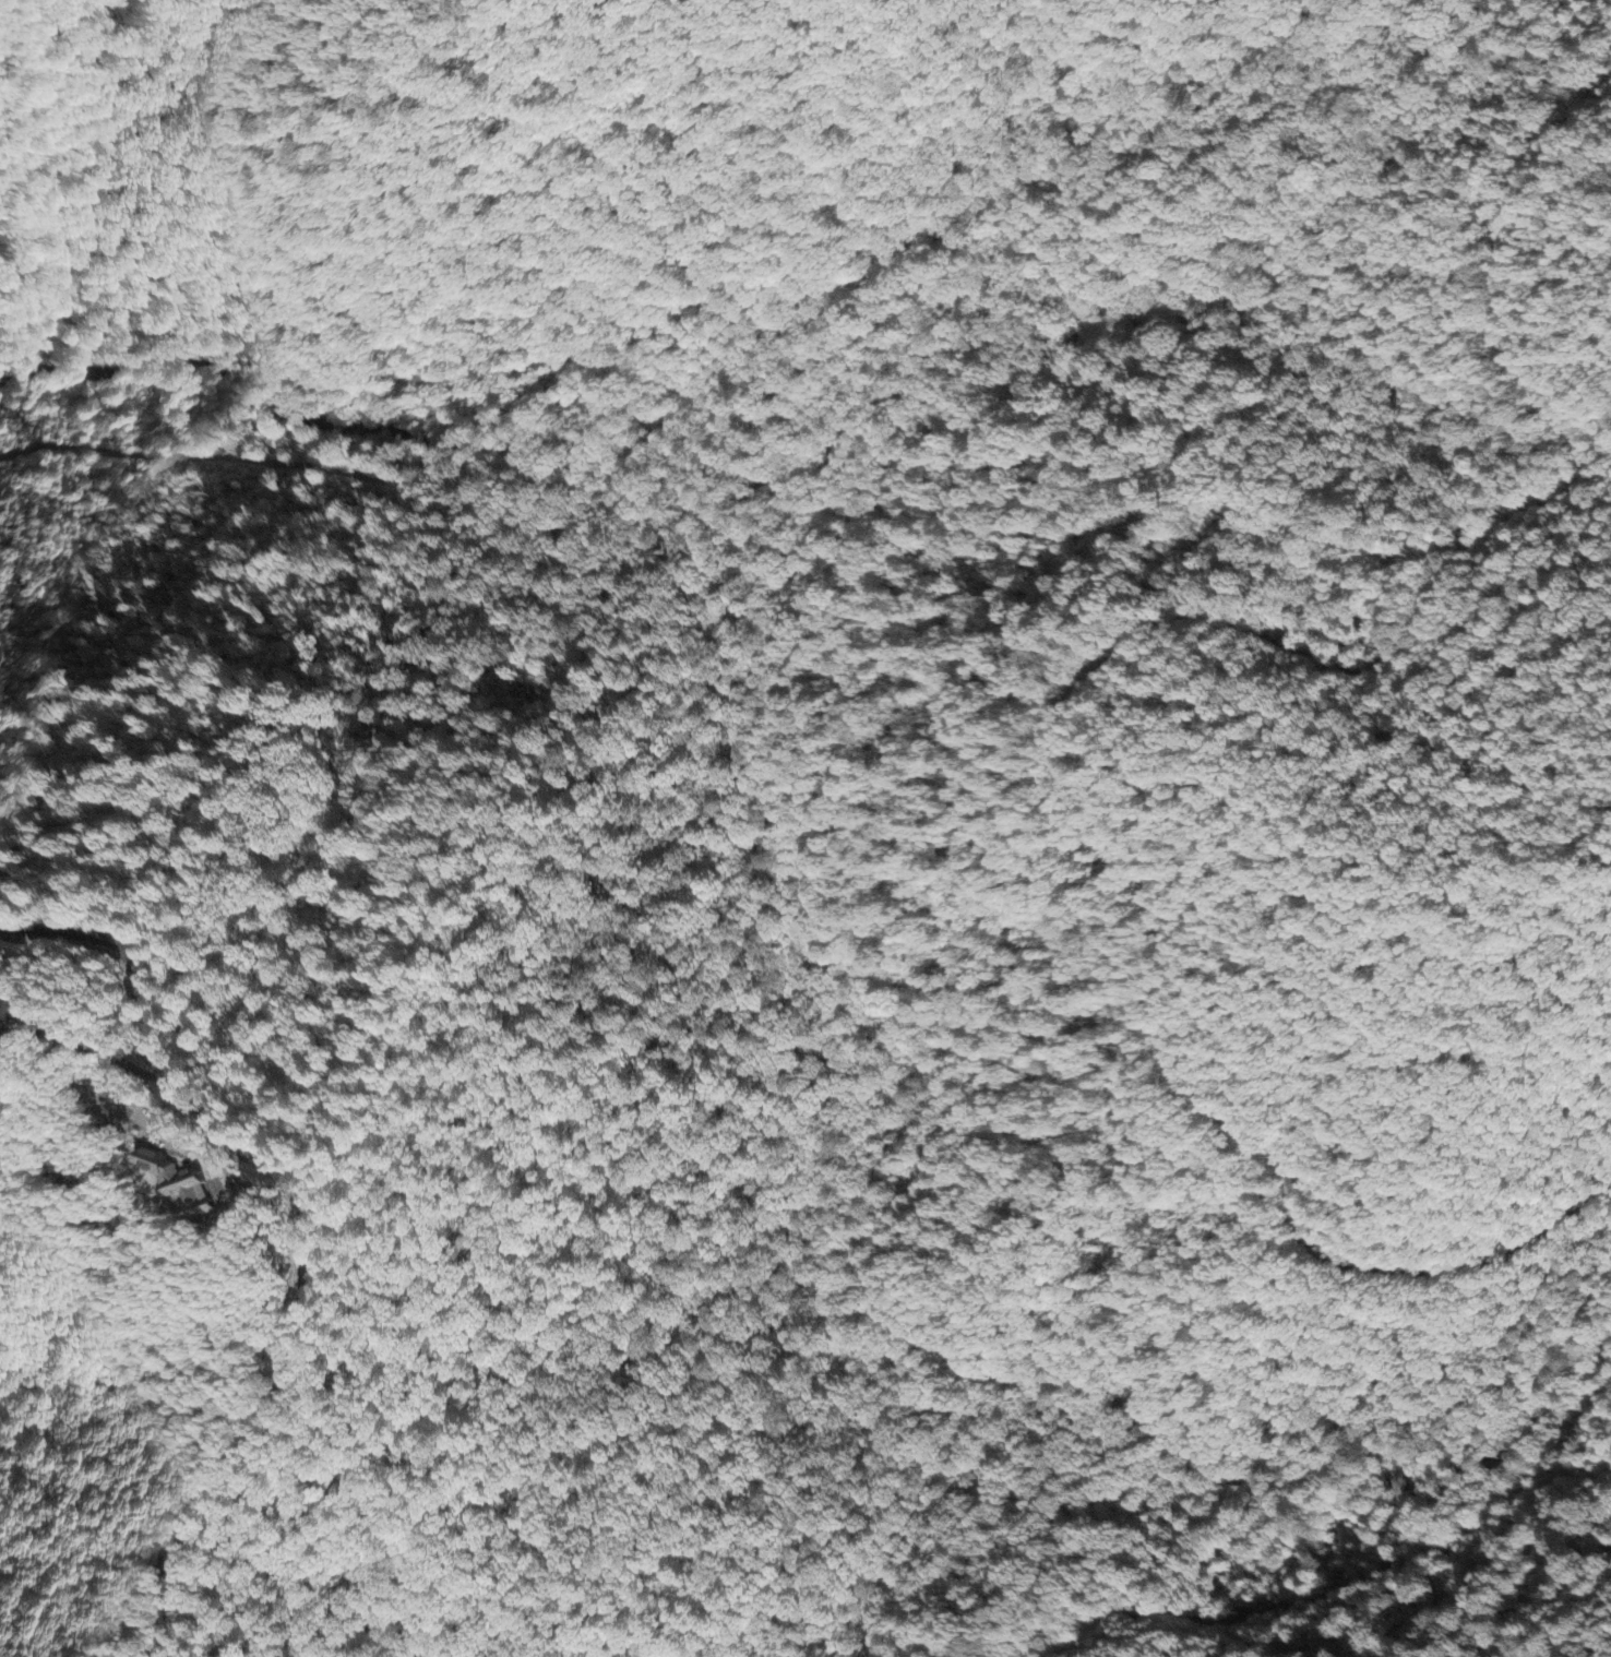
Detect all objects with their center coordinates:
building: (9, 1012)
road: (189, 1101)
building: (213, 1192)
building: (189, 1196)

